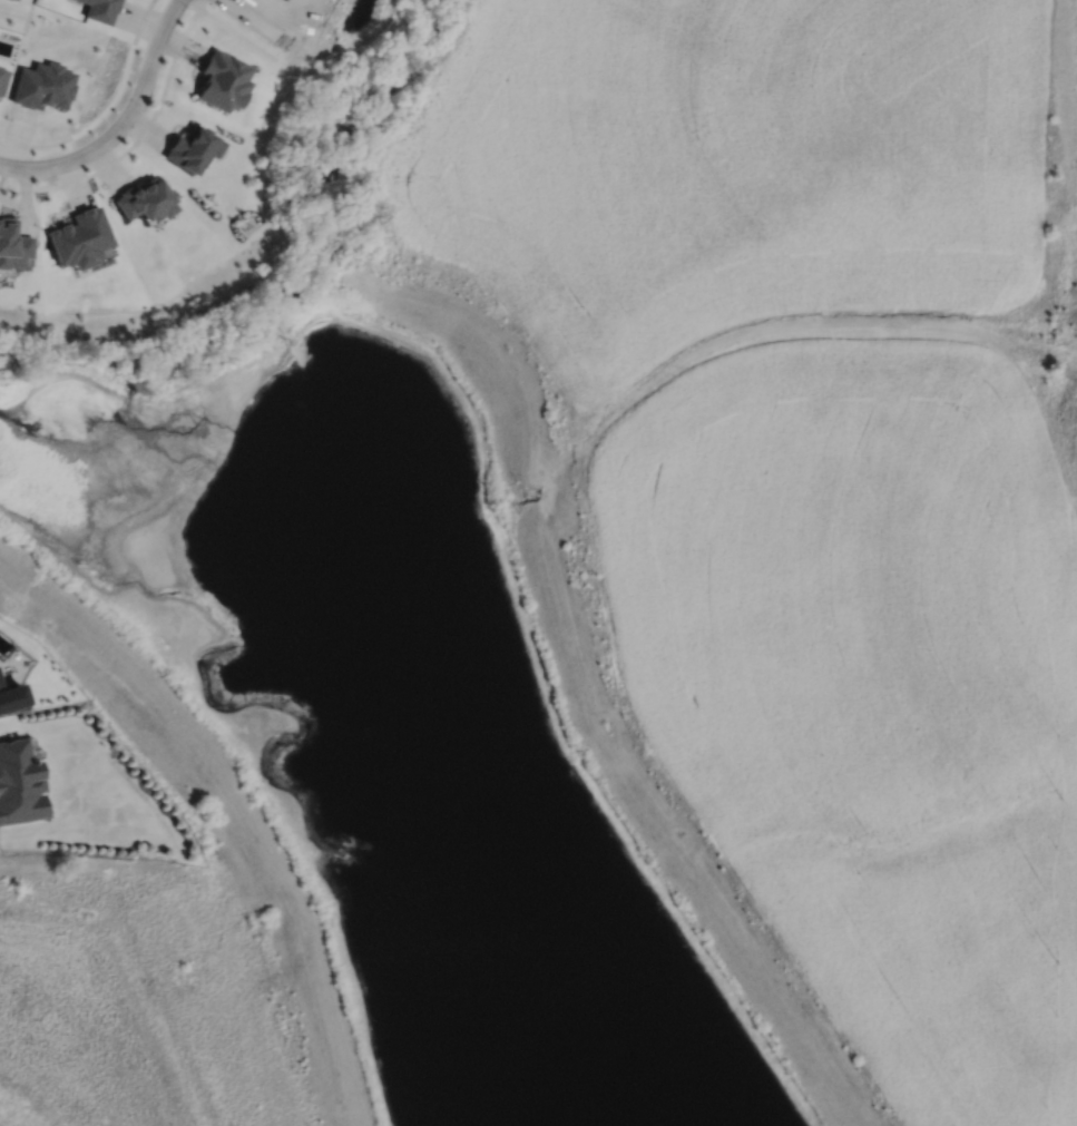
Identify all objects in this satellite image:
street lamp: (187, 7)
building: (100, 9)
road: (257, 20)
street lamp: (246, 27)
building: (3, 79)
building: (224, 80)
building: (43, 86)
road: (158, 105)
road: (107, 108)
street lamp: (108, 123)
road: (123, 124)
building: (193, 148)
building: (145, 200)
building: (79, 238)
building: (13, 245)
crop: (809, 471)
building: (11, 696)
building: (18, 783)

